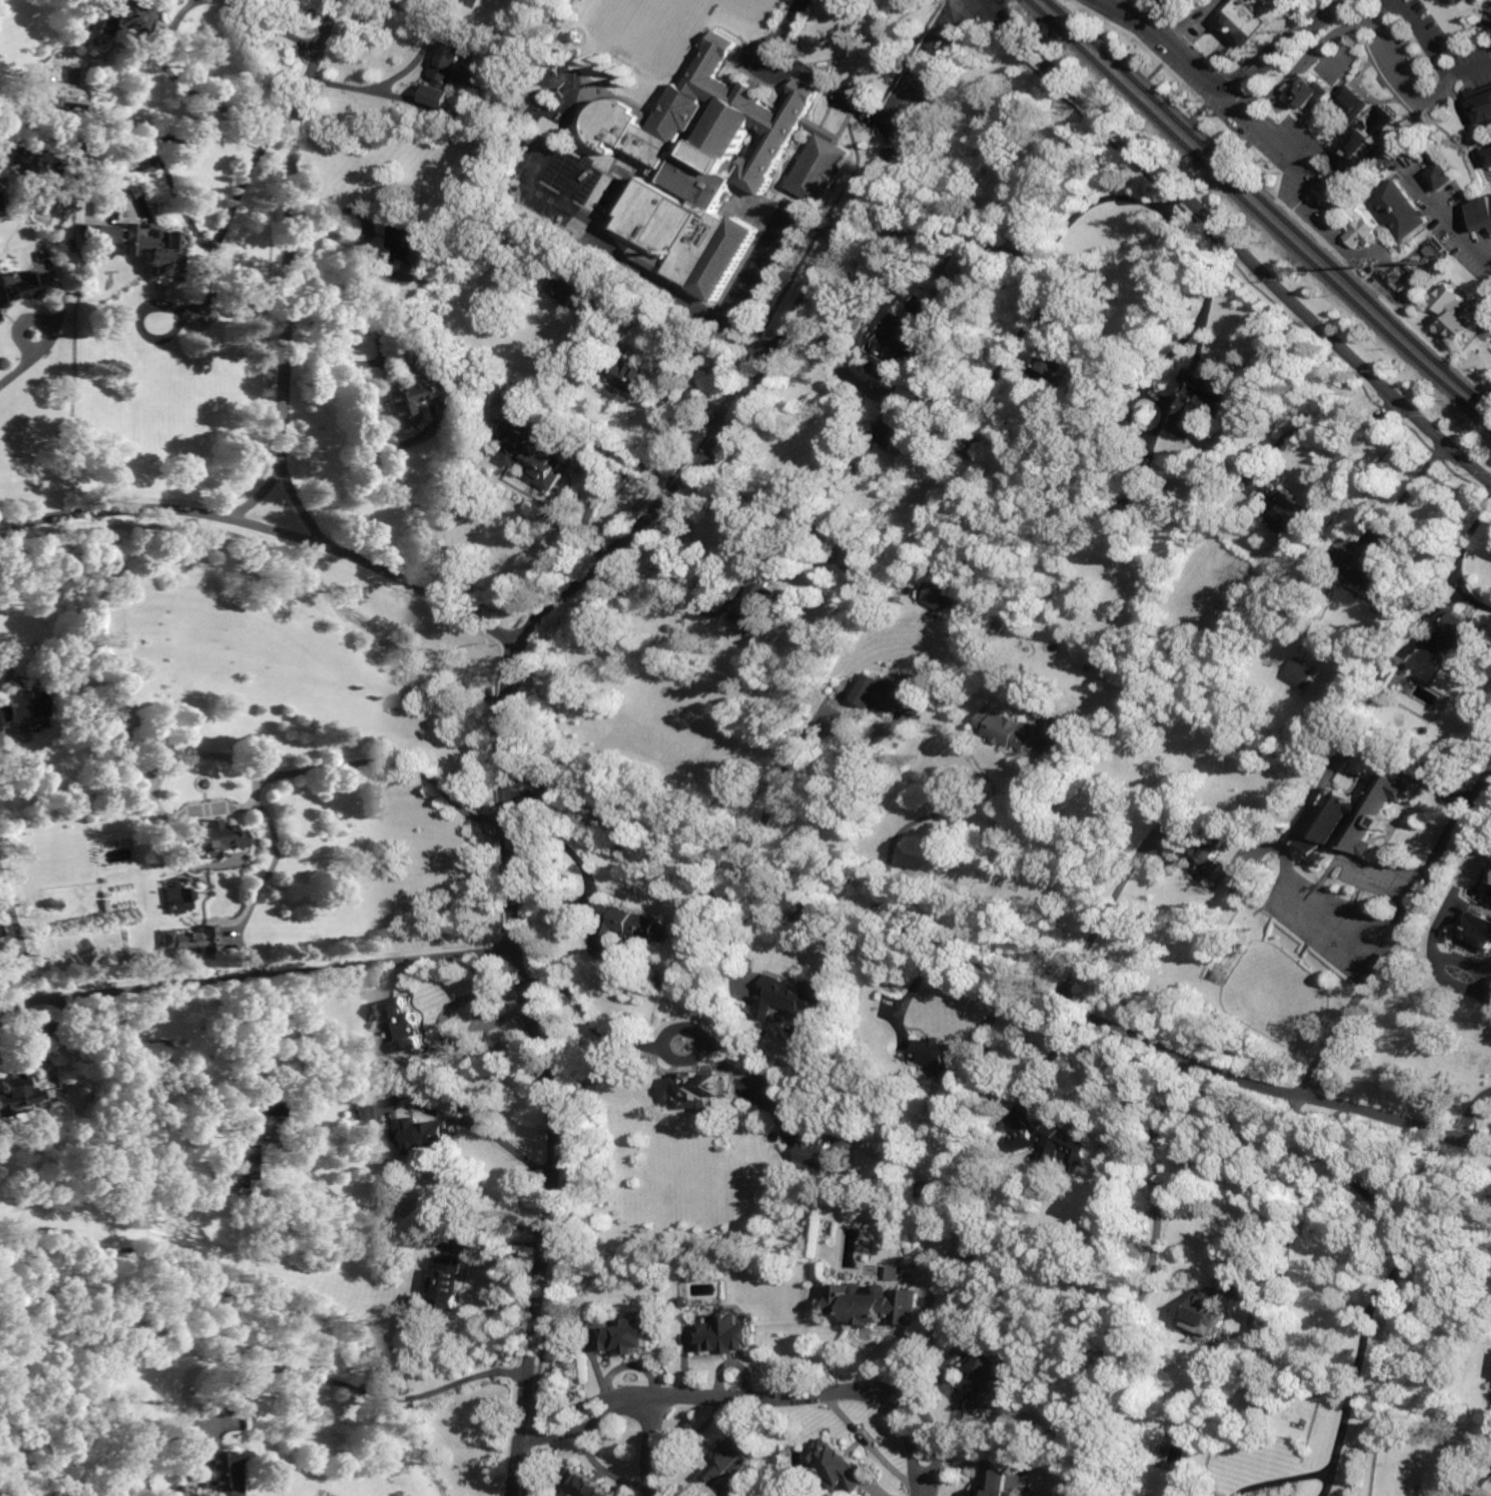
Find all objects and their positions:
road: (976, 2)
road: (983, 2)
building: (124, 18)
building: (1247, 21)
road: (272, 23)
park: (652, 26)
road: (1351, 27)
road: (1429, 40)
road: (1287, 47)
road: (409, 70)
road: (1471, 70)
road: (811, 73)
building: (447, 75)
road: (1204, 76)
road: (188, 90)
building: (1312, 94)
building: (69, 103)
building: (490, 103)
building: (1359, 103)
building: (1482, 103)
road: (1471, 128)
building: (1365, 141)
building: (30, 157)
building: (1487, 158)
building: (1427, 159)
building: (146, 164)
building: (712, 168)
building: (1446, 176)
road: (1050, 185)
building: (132, 190)
road: (237, 191)
railway: (1271, 203)
building: (1402, 209)
railway: (1260, 212)
building: (1483, 214)
building: (1361, 215)
road: (1452, 220)
road: (815, 224)
building: (99, 233)
road: (290, 235)
building: (406, 239)
road: (1235, 241)
road: (1489, 257)
building: (163, 258)
road: (1489, 260)
building: (1413, 267)
building: (19, 290)
road: (739, 293)
building: (574, 294)
road: (1487, 296)
building: (1459, 313)
building: (0, 318)
building: (0, 320)
road: (1194, 329)
building: (376, 331)
building: (911, 331)
road: (25, 362)
building: (1058, 362)
road: (718, 363)
building: (629, 374)
building: (928, 391)
building: (414, 398)
building: (1202, 399)
road: (665, 403)
building: (523, 405)
road: (369, 415)
road: (1324, 422)
building: (891, 430)
building: (1016, 430)
building: (972, 445)
building: (1115, 447)
building: (534, 449)
road: (619, 467)
road: (1408, 492)
road: (254, 498)
building: (1137, 504)
road: (109, 510)
road: (303, 512)
building: (810, 516)
building: (1291, 519)
road: (748, 527)
road: (311, 542)
road: (1459, 557)
building: (862, 560)
building: (1373, 578)
building: (1327, 585)
building: (939, 597)
road: (461, 609)
building: (759, 609)
building: (999, 626)
building: (1462, 631)
road: (7, 664)
building: (1388, 670)
building: (1302, 671)
road: (512, 675)
building: (880, 694)
building: (22, 707)
building: (1207, 728)
building: (1009, 730)
building: (818, 741)
road: (1396, 759)
road: (306, 768)
road: (774, 796)
road: (924, 817)
building: (1374, 817)
building: (210, 840)
building: (625, 848)
building: (1203, 851)
building: (182, 901)
road: (1107, 908)
road: (1338, 920)
road: (746, 921)
building: (628, 924)
building: (667, 928)
building: (1479, 930)
building: (1, 931)
road: (1398, 932)
road: (18, 938)
building: (193, 940)
road: (1442, 953)
road: (998, 970)
road: (257, 977)
building: (795, 994)
road: (477, 1012)
road: (591, 1023)
road: (442, 1024)
building: (327, 1035)
building: (1483, 1036)
building: (407, 1038)
building: (148, 1053)
building: (940, 1059)
road: (1050, 1063)
building: (18, 1088)
building: (127, 1089)
building: (702, 1091)
road: (454, 1104)
building: (274, 1109)
road: (1470, 1111)
building: (363, 1112)
building: (201, 1129)
building: (436, 1135)
building: (1055, 1143)
building: (814, 1157)
building: (246, 1162)
road: (1230, 1174)
building: (926, 1193)
road: (406, 1214)
building: (279, 1242)
road: (1400, 1262)
building: (447, 1282)
building: (685, 1301)
building: (877, 1303)
building: (1205, 1313)
building: (727, 1334)
building: (628, 1336)
building: (988, 1377)
building: (1241, 1381)
road: (355, 1386)
road: (831, 1392)
building: (1263, 1397)
road: (590, 1413)
building: (189, 1440)
road: (651, 1446)
building: (731, 1461)
building: (841, 1465)
building: (123, 1472)
building: (224, 1473)
road: (1284, 1480)
building: (998, 1483)
road: (1330, 1483)
building: (585, 1484)

